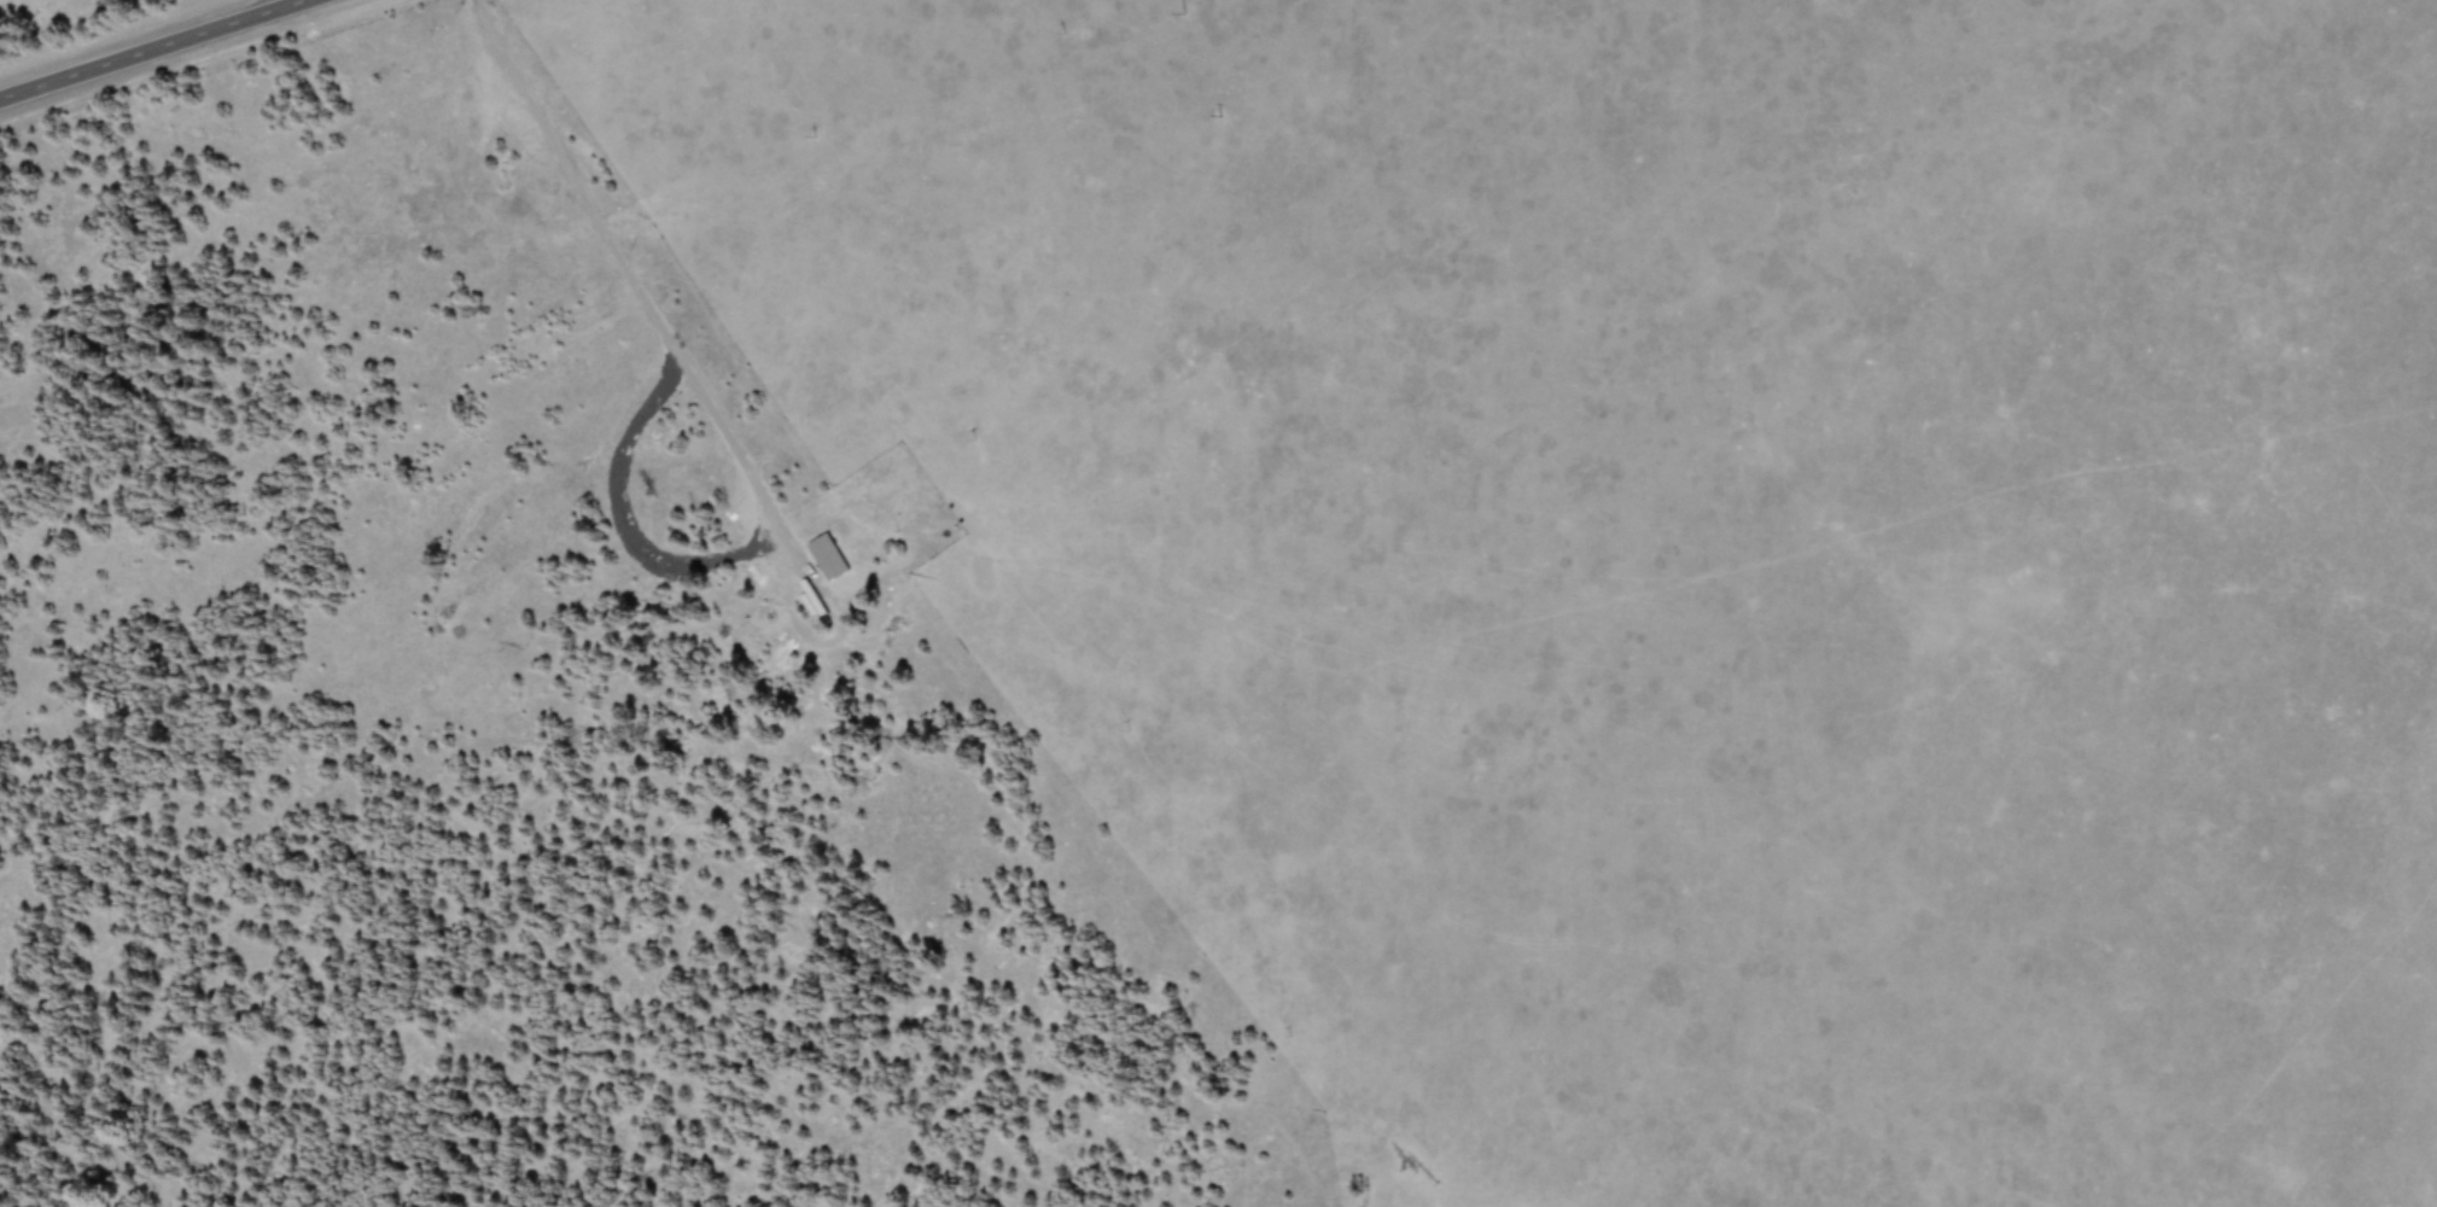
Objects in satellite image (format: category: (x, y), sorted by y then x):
road: (152, 47)
road: (648, 299)
building: (827, 556)

